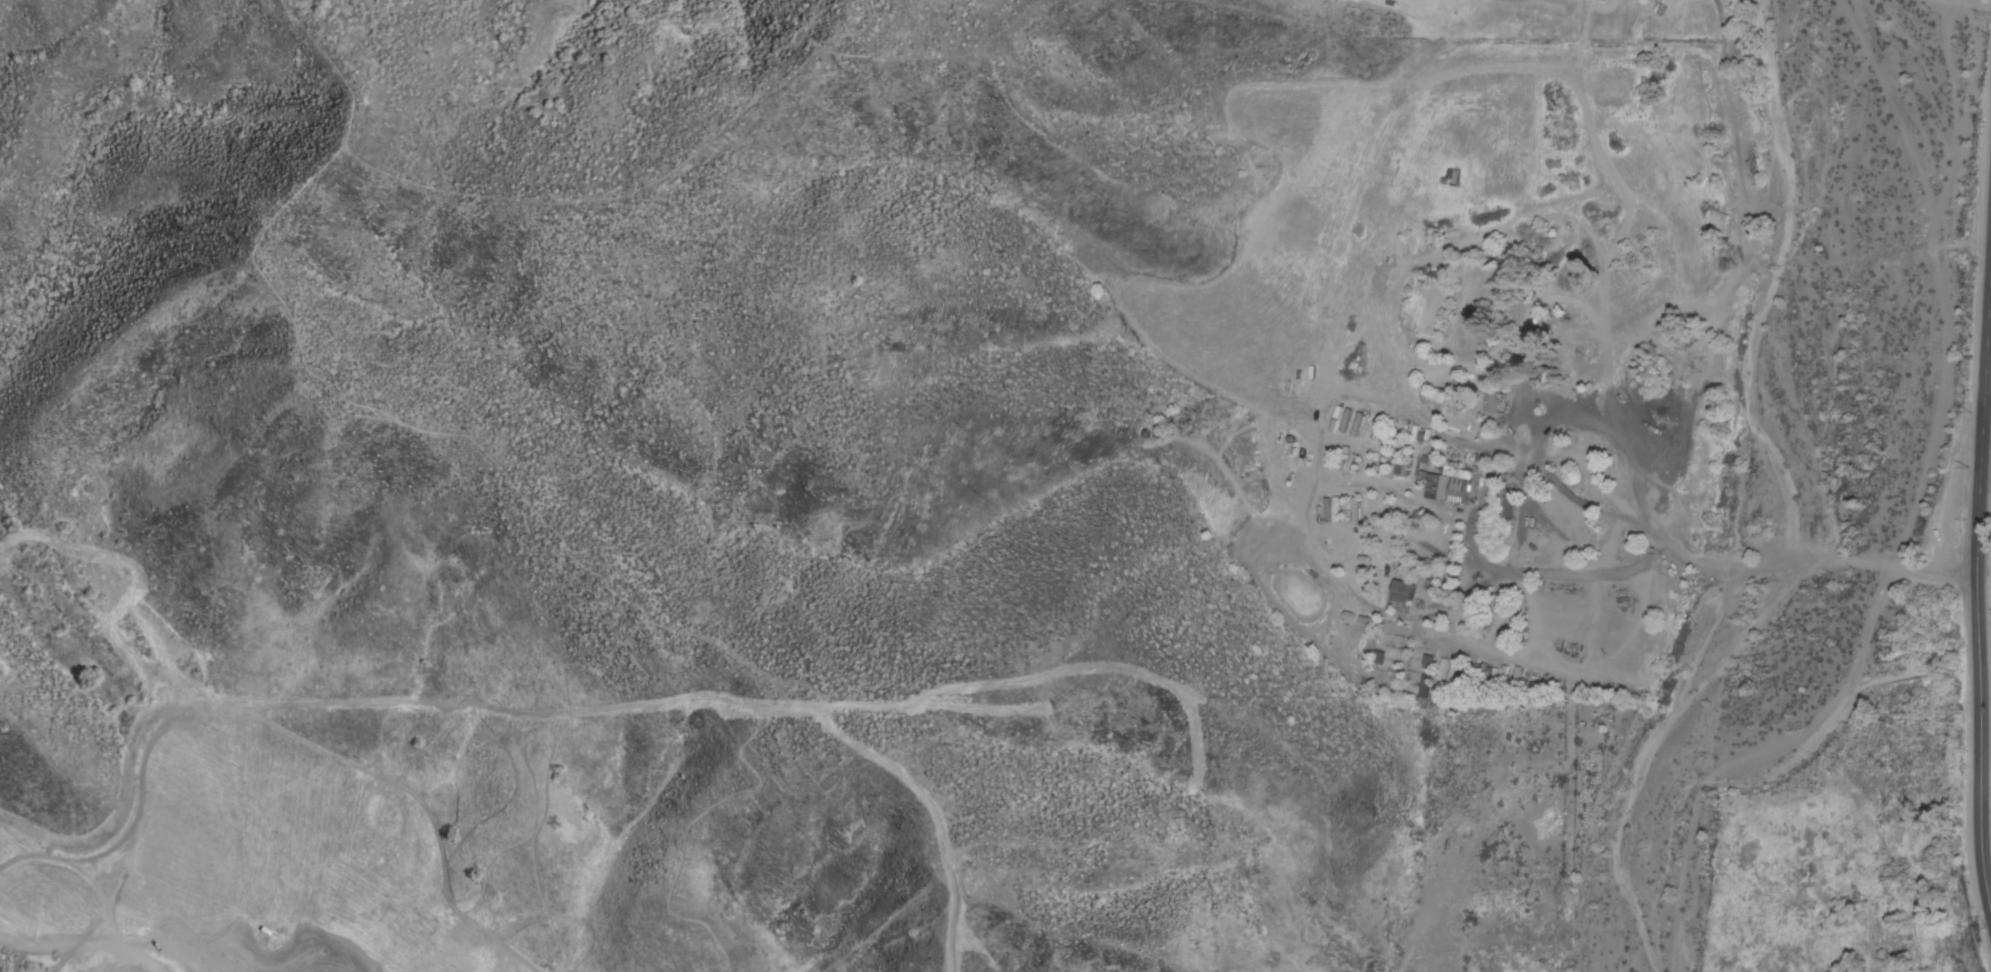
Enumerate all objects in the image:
road: (1976, 2)
building: (1534, 354)
road: (1988, 389)
building: (1494, 390)
road: (1592, 410)
road: (1534, 456)
building: (1399, 463)
building: (1451, 478)
building: (1508, 505)
road: (1585, 505)
building: (1354, 510)
building: (1416, 518)
road: (1307, 521)
road: (1414, 541)
building: (1384, 559)
road: (1974, 583)
building: (1438, 586)
building: (1401, 595)
building: (1427, 662)
building: (1422, 686)
road: (1569, 823)
building: (1917, 916)

